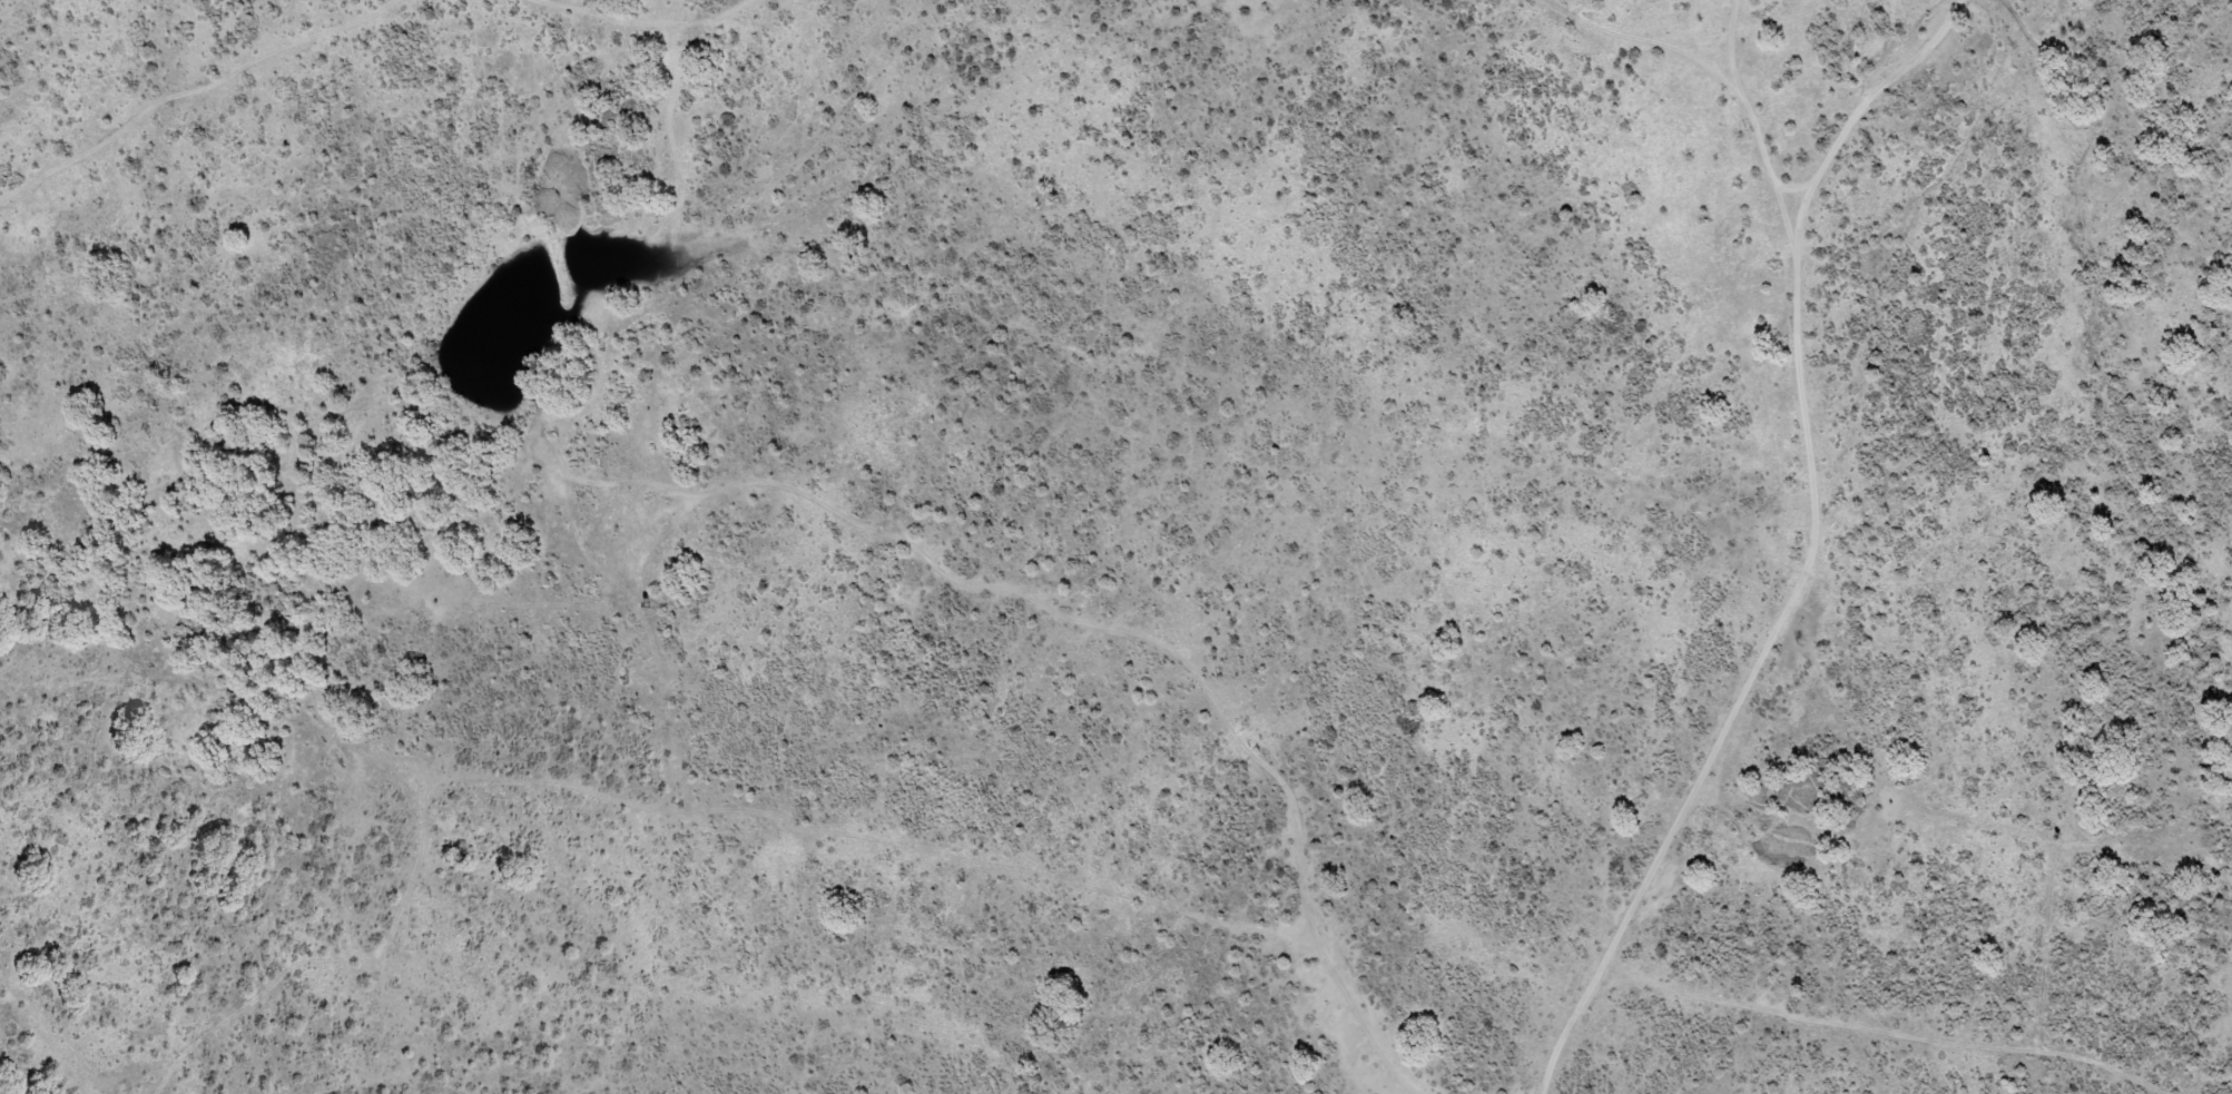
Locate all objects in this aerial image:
road: (1812, 549)

